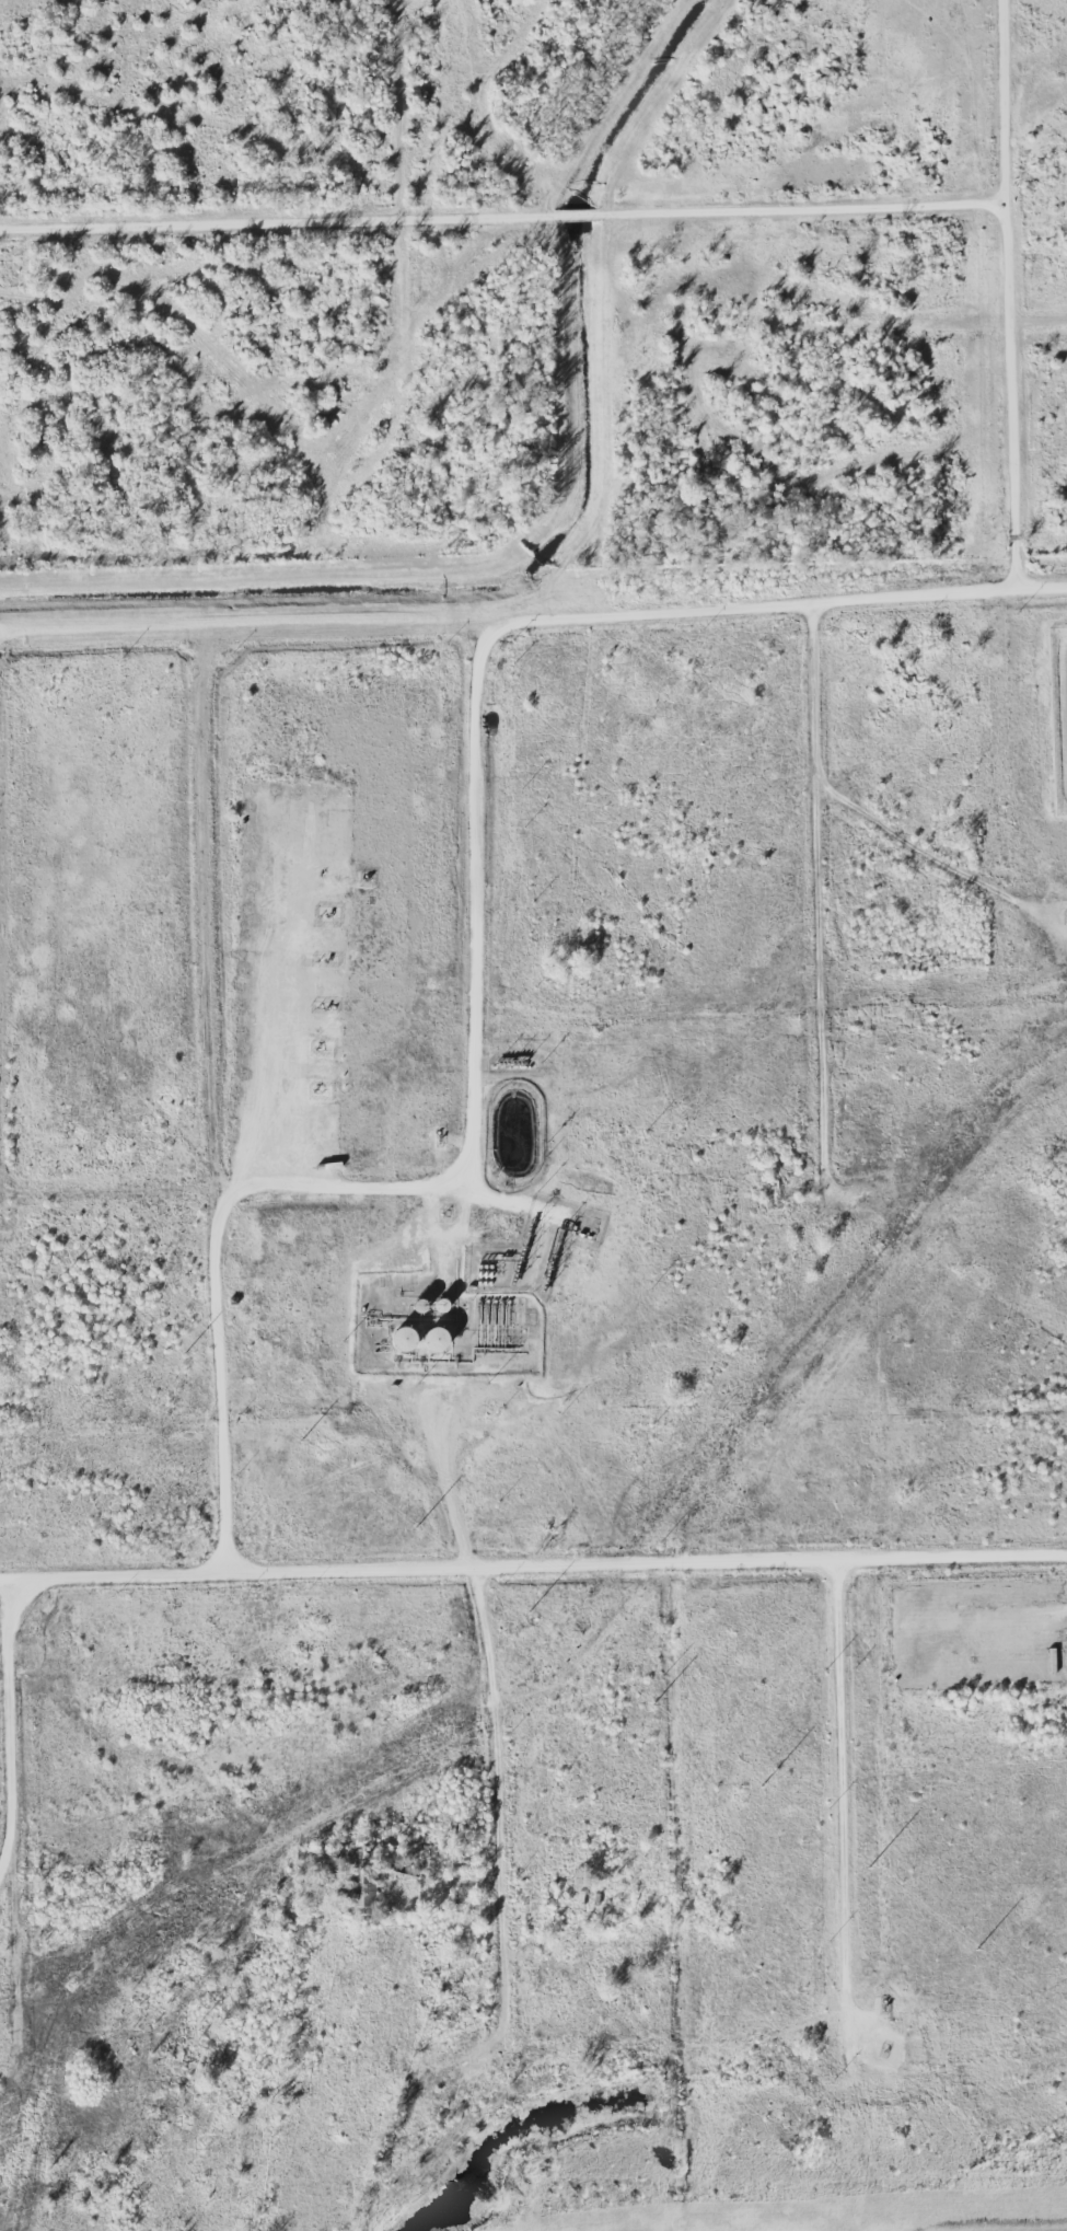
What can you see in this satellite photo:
road: (500, 221)
road: (1004, 296)
road: (357, 628)
road: (475, 725)
road: (821, 926)
road: (210, 1096)
road: (448, 1478)
road: (533, 1563)
road: (8, 1724)
road: (494, 1770)
road: (842, 1791)

